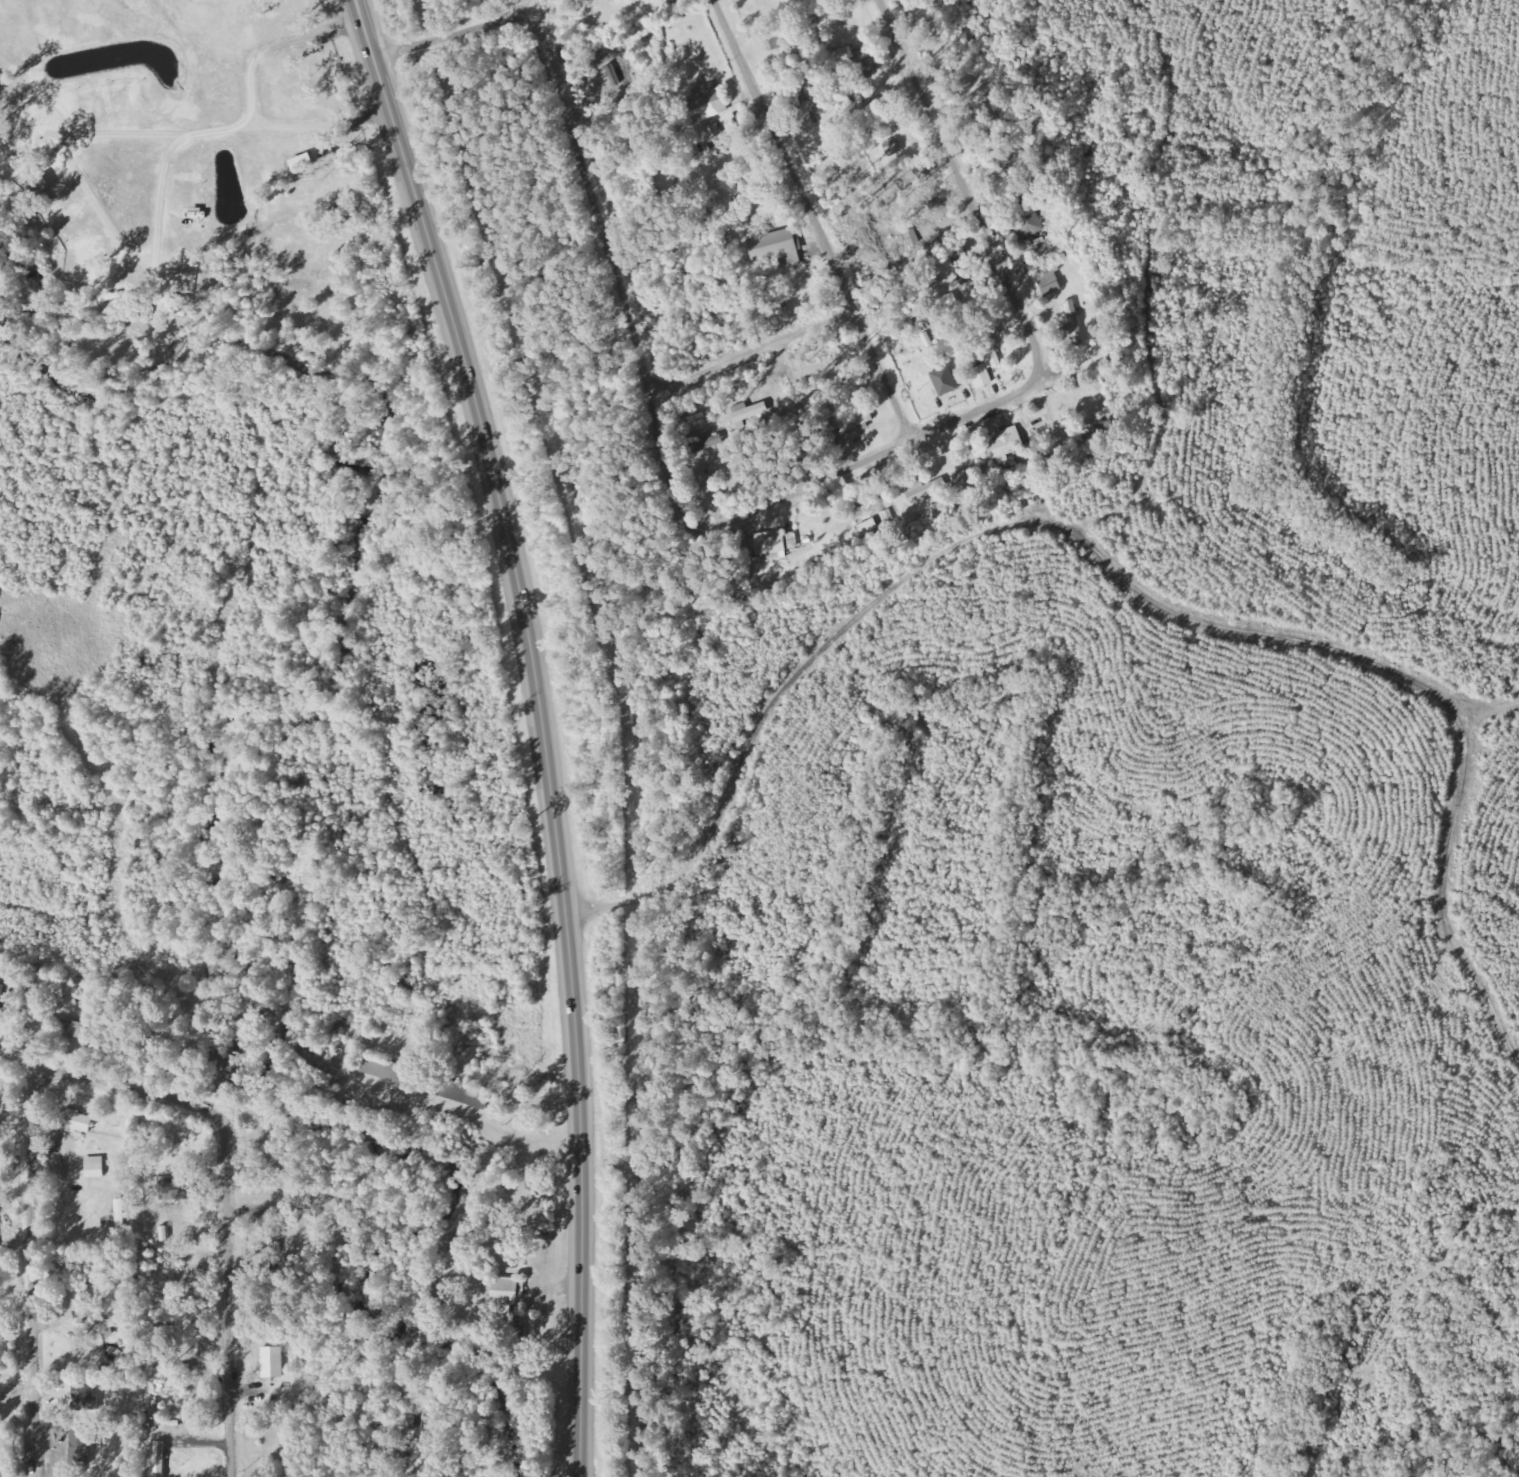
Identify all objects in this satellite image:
building: (660, 1)
road: (504, 7)
road: (437, 31)
building: (708, 101)
building: (715, 132)
building: (325, 146)
building: (302, 161)
road: (936, 182)
road: (784, 210)
road: (421, 220)
building: (1029, 225)
building: (778, 246)
road: (593, 251)
building: (1075, 338)
road: (722, 351)
building: (986, 361)
building: (946, 393)
building: (1005, 443)
road: (833, 451)
building: (925, 488)
building: (771, 545)
road: (570, 955)
building: (1, 996)
building: (72, 1026)
building: (383, 1067)
road: (111, 1083)
building: (76, 1120)
building: (95, 1166)
building: (165, 1234)
building: (506, 1290)
building: (106, 1326)
building: (272, 1362)

